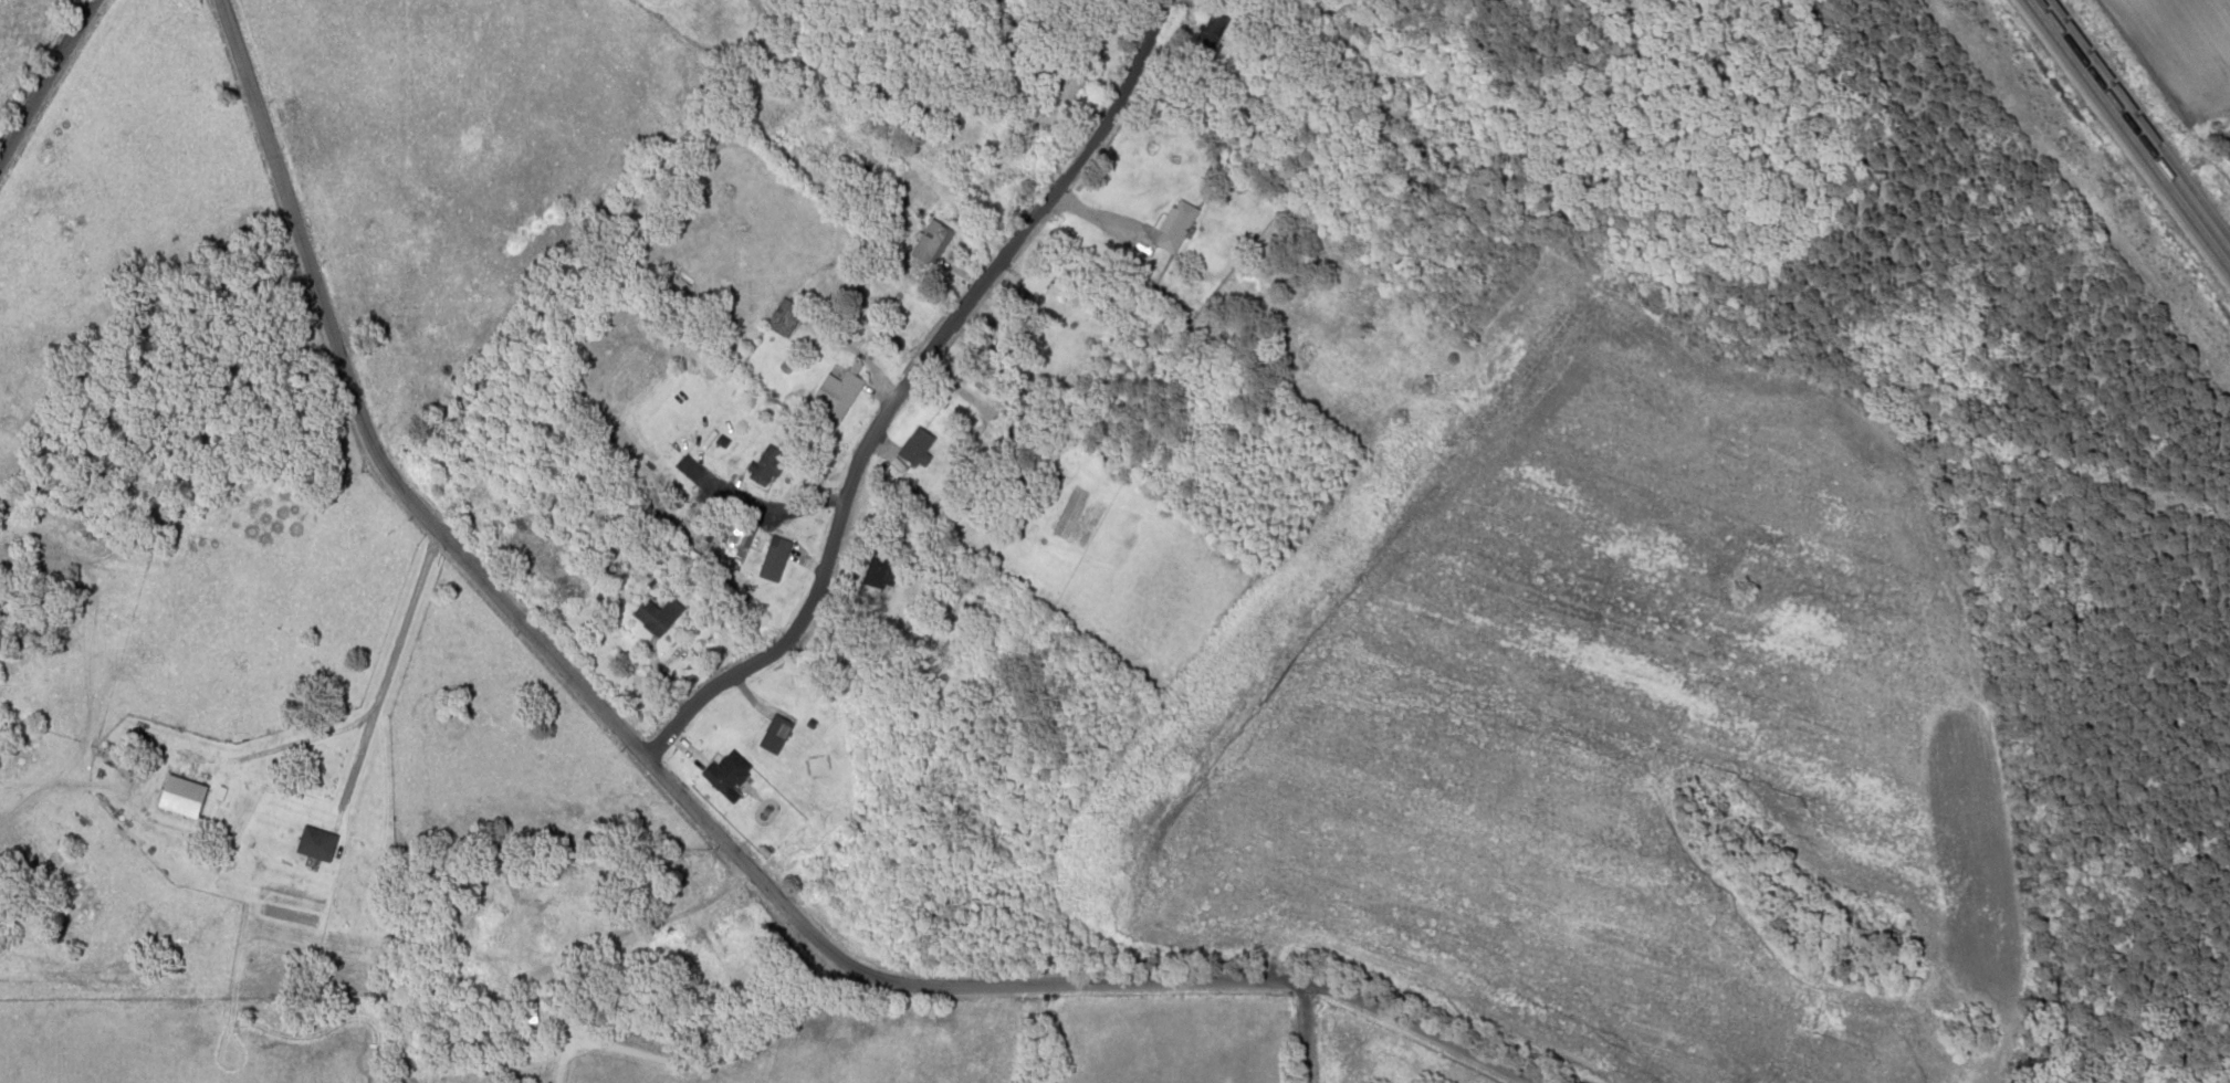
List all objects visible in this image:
building: (1210, 23)
road: (44, 77)
building: (1065, 81)
building: (763, 115)
railway: (2126, 137)
building: (1175, 221)
building: (930, 241)
building: (1037, 275)
building: (783, 316)
road: (901, 385)
building: (836, 391)
building: (914, 445)
building: (765, 465)
building: (769, 562)
building: (875, 569)
building: (657, 614)
building: (773, 734)
building: (724, 771)
building: (180, 796)
road: (683, 807)
building: (314, 843)
road: (1302, 1031)

